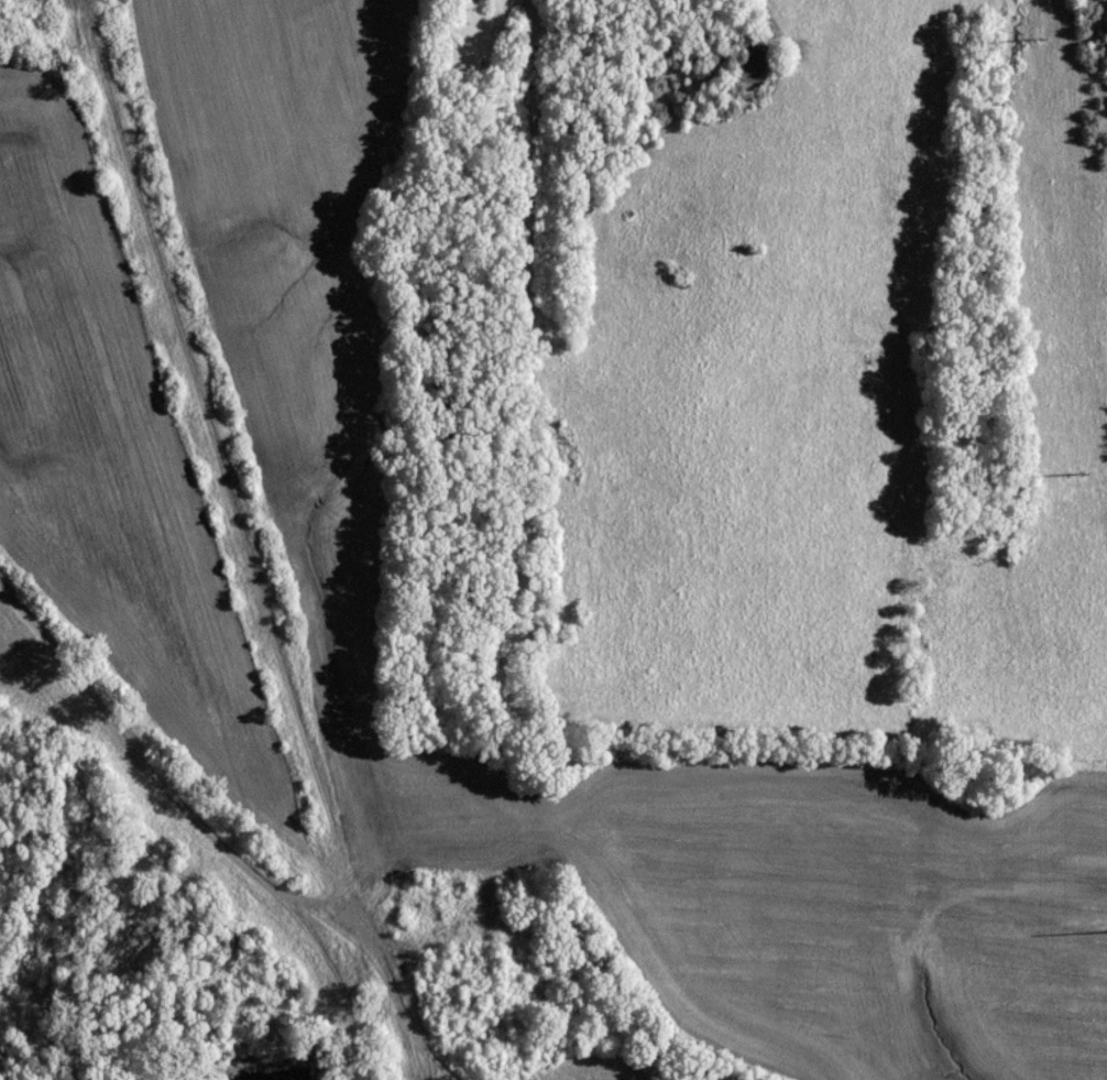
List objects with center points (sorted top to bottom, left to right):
power tower: (1024, 43)
power tower: (1062, 477)
road: (235, 542)
road: (218, 833)
power tower: (1104, 927)

